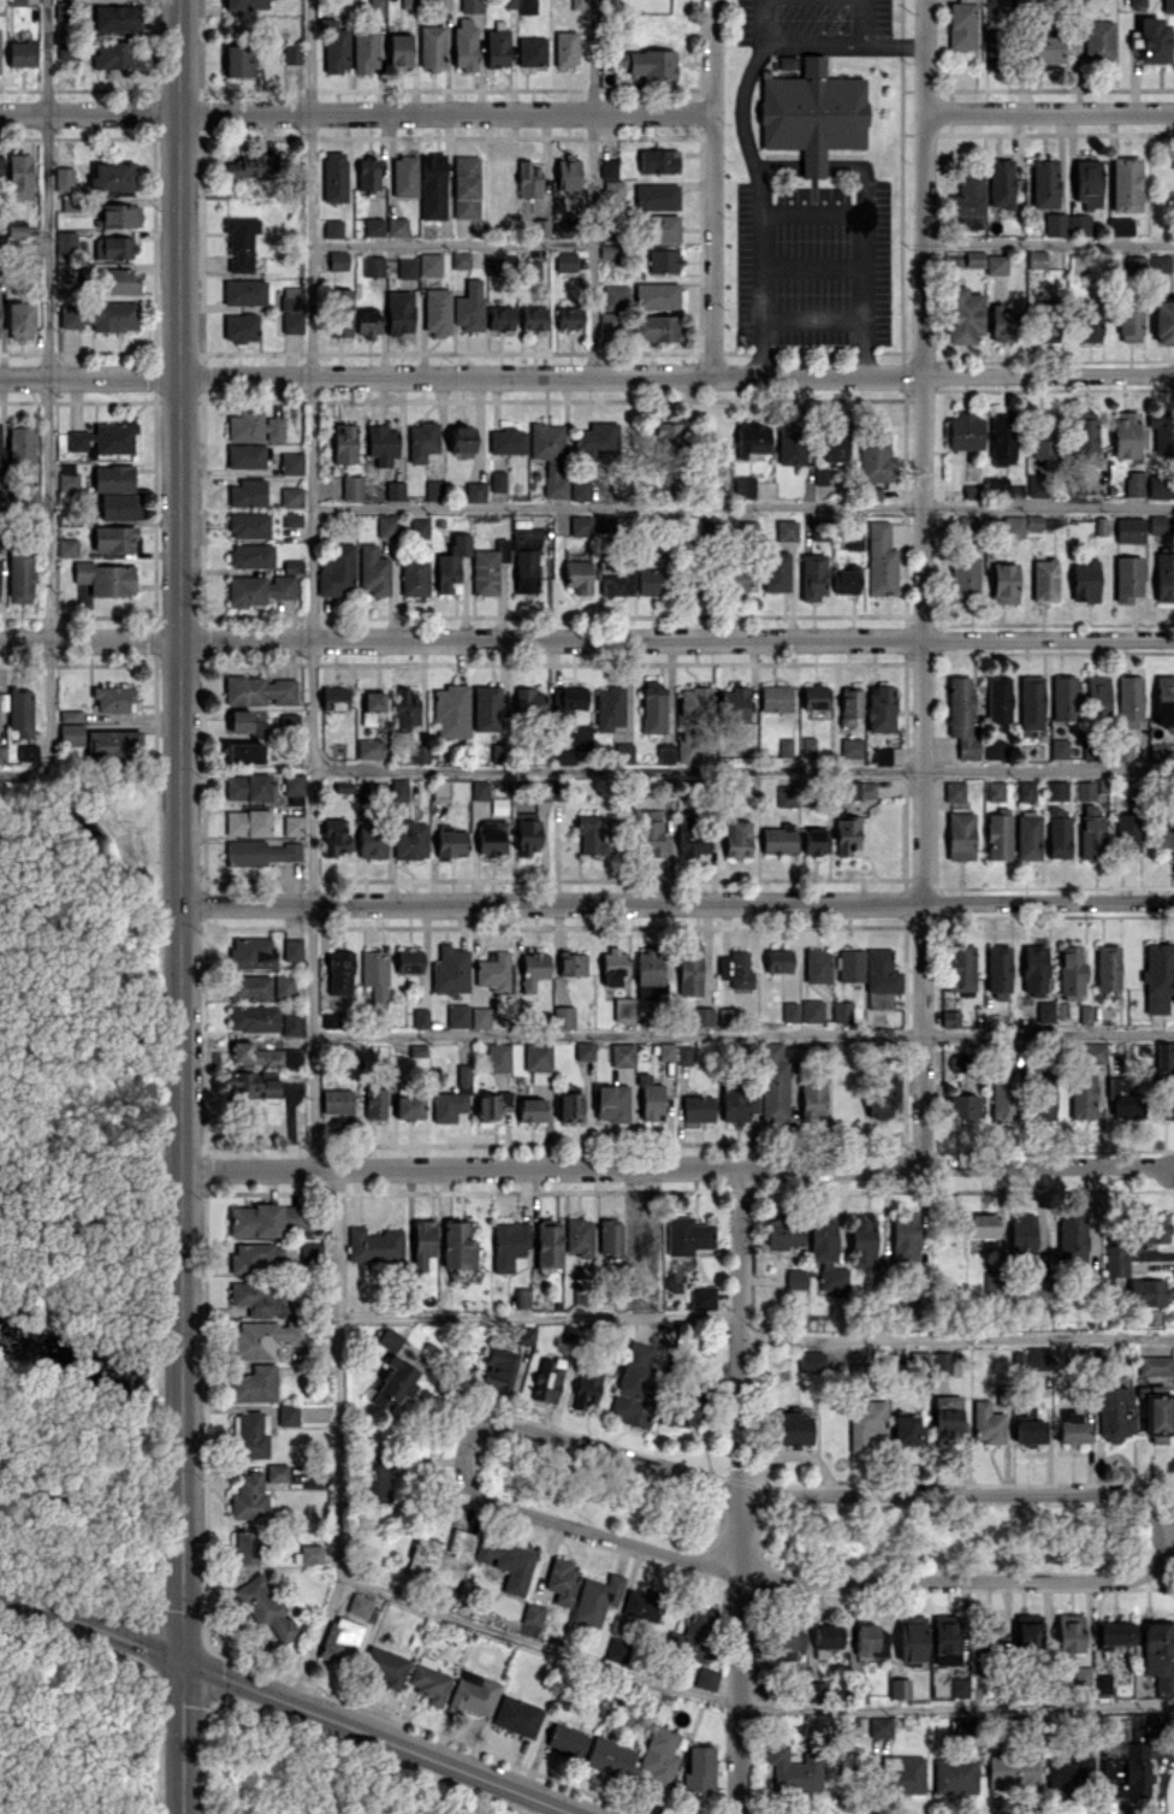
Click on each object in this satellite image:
building: (16, 1)
building: (1136, 2)
building: (245, 4)
building: (408, 4)
building: (438, 4)
building: (509, 4)
building: (576, 4)
building: (991, 4)
building: (470, 5)
building: (526, 6)
building: (1168, 6)
building: (115, 17)
building: (961, 24)
building: (1097, 40)
building: (1152, 40)
road: (812, 41)
building: (464, 42)
road: (893, 43)
building: (334, 46)
building: (431, 46)
building: (364, 47)
building: (497, 47)
building: (1043, 47)
building: (565, 48)
building: (399, 49)
building: (994, 49)
building: (532, 51)
building: (20, 53)
building: (117, 53)
building: (291, 53)
building: (238, 60)
building: (646, 63)
road: (1049, 112)
road: (356, 113)
building: (812, 113)
building: (658, 160)
building: (0, 163)
building: (249, 165)
road: (776, 165)
road: (812, 165)
building: (607, 167)
building: (367, 172)
road: (861, 172)
building: (567, 173)
building: (19, 176)
building: (112, 176)
building: (334, 176)
building: (404, 176)
building: (64, 178)
building: (528, 179)
building: (1000, 182)
building: (1043, 183)
building: (1087, 183)
building: (1125, 183)
building: (466, 185)
building: (432, 187)
road: (713, 187)
road: (924, 187)
road: (593, 188)
building: (612, 189)
building: (656, 196)
building: (968, 200)
road: (757, 203)
building: (119, 214)
building: (1055, 224)
building: (1078, 224)
building: (373, 226)
building: (396, 226)
building: (1119, 226)
building: (16, 228)
building: (332, 228)
building: (539, 228)
building: (660, 228)
road: (451, 240)
building: (65, 241)
building: (241, 242)
road: (23, 243)
road: (860, 243)
road: (1049, 243)
building: (114, 246)
building: (607, 250)
building: (973, 258)
building: (459, 259)
building: (1036, 259)
building: (337, 260)
building: (663, 260)
building: (565, 261)
building: (1160, 262)
building: (429, 264)
building: (996, 264)
building: (1136, 264)
building: (372, 265)
building: (492, 265)
building: (407, 267)
building: (530, 268)
building: (64, 272)
building: (117, 280)
building: (244, 291)
building: (656, 294)
building: (615, 296)
building: (291, 299)
building: (468, 306)
building: (435, 311)
building: (340, 312)
building: (398, 314)
road: (811, 314)
building: (99, 315)
building: (963, 315)
building: (500, 317)
building: (533, 318)
building: (568, 318)
building: (19, 319)
building: (1163, 320)
building: (367, 321)
building: (607, 321)
building: (292, 323)
building: (1001, 323)
building: (1046, 323)
building: (1089, 323)
building: (1129, 324)
building: (239, 326)
building: (657, 327)
road: (587, 376)
road: (48, 388)
building: (245, 425)
building: (273, 427)
building: (963, 431)
building: (1162, 431)
building: (1125, 433)
building: (1043, 435)
building: (1085, 435)
building: (668, 436)
building: (103, 437)
building: (462, 438)
building: (752, 439)
building: (1002, 439)
building: (421, 441)
building: (506, 441)
building: (595, 441)
building: (790, 441)
building: (834, 442)
building: (344, 443)
building: (381, 443)
building: (20, 444)
building: (245, 455)
building: (549, 455)
building: (874, 456)
building: (0, 459)
building: (291, 462)
building: (820, 474)
building: (67, 477)
building: (112, 478)
building: (497, 480)
building: (743, 485)
building: (1036, 485)
building: (1149, 485)
building: (351, 486)
building: (579, 489)
building: (1, 490)
building: (395, 490)
building: (435, 490)
building: (872, 490)
building: (472, 491)
building: (30, 492)
building: (247, 492)
building: (290, 496)
building: (119, 506)
road: (742, 508)
road: (24, 512)
building: (291, 519)
building: (1033, 521)
building: (604, 522)
building: (971, 524)
building: (1156, 524)
building: (248, 525)
building: (385, 525)
building: (1009, 525)
building: (748, 526)
building: (416, 527)
building: (785, 530)
building: (1128, 530)
building: (853, 534)
building: (527, 537)
building: (115, 538)
building: (66, 546)
building: (251, 555)
building: (879, 560)
building: (451, 563)
building: (292, 566)
building: (488, 567)
building: (337, 571)
building: (373, 571)
building: (524, 571)
building: (775, 571)
building: (414, 575)
building: (577, 575)
building: (812, 575)
building: (19, 577)
building: (613, 577)
building: (740, 577)
building: (1163, 577)
building: (103, 578)
building: (963, 578)
building: (1127, 578)
building: (1044, 579)
building: (844, 580)
building: (651, 581)
building: (1085, 581)
road: (312, 583)
building: (1003, 583)
building: (259, 589)
road: (586, 639)
building: (259, 690)
building: (814, 696)
building: (334, 697)
building: (573, 697)
building: (775, 697)
building: (1063, 697)
building: (1096, 697)
building: (114, 698)
building: (734, 699)
building: (1164, 699)
building: (373, 701)
building: (693, 701)
building: (997, 701)
building: (1128, 701)
building: (528, 702)
building: (1031, 702)
building: (849, 704)
building: (405, 705)
building: (653, 707)
building: (486, 708)
building: (609, 708)
building: (879, 708)
building: (451, 710)
building: (20, 713)
building: (71, 715)
building: (961, 716)
building: (367, 717)
building: (239, 720)
building: (71, 733)
building: (581, 737)
building: (113, 743)
building: (783, 746)
building: (808, 746)
building: (369, 748)
building: (850, 748)
building: (1059, 748)
building: (994, 749)
building: (1122, 749)
building: (687, 750)
building: (243, 751)
building: (1156, 751)
building: (497, 752)
building: (622, 752)
building: (665, 752)
building: (2, 754)
building: (28, 754)
building: (419, 754)
building: (880, 755)
building: (564, 756)
road: (743, 769)
road: (925, 769)
road: (19, 772)
building: (292, 784)
building: (247, 786)
building: (439, 787)
building: (479, 790)
building: (862, 790)
building: (1025, 790)
building: (1056, 790)
building: (1085, 790)
building: (364, 791)
building: (954, 791)
building: (994, 791)
building: (785, 794)
building: (498, 805)
building: (247, 822)
building: (292, 825)
building: (687, 825)
building: (526, 832)
building: (1057, 832)
building: (1090, 832)
building: (1127, 832)
building: (589, 833)
building: (846, 835)
building: (960, 835)
building: (997, 835)
building: (1166, 835)
building: (336, 837)
building: (491, 837)
building: (648, 837)
building: (1027, 837)
building: (736, 838)
building: (778, 838)
building: (410, 839)
building: (370, 840)
building: (450, 840)
building: (814, 840)
building: (693, 849)
building: (261, 852)
road: (677, 903)
road: (182, 906)
building: (291, 949)
building: (251, 952)
building: (408, 961)
building: (777, 961)
building: (571, 963)
building: (613, 965)
building: (817, 965)
building: (850, 965)
building: (1107, 967)
building: (735, 968)
building: (960, 968)
building: (533, 969)
building: (1033, 969)
building: (450, 970)
building: (493, 970)
building: (689, 970)
building: (997, 971)
building: (1071, 971)
building: (339, 973)
building: (648, 973)
building: (1157, 975)
building: (375, 977)
building: (250, 986)
building: (283, 986)
building: (623, 1009)
building: (812, 1010)
building: (789, 1011)
building: (841, 1011)
building: (1044, 1011)
building: (457, 1015)
building: (563, 1016)
building: (701, 1016)
building: (725, 1016)
building: (253, 1017)
building: (420, 1017)
building: (480, 1017)
building: (949, 1017)
building: (331, 1020)
building: (292, 1022)
road: (743, 1035)
building: (417, 1050)
building: (583, 1050)
building: (665, 1051)
building: (1093, 1052)
building: (262, 1054)
building: (622, 1054)
building: (684, 1054)
building: (498, 1056)
building: (536, 1057)
building: (1163, 1059)
building: (251, 1083)
building: (772, 1083)
building: (1002, 1094)
building: (1081, 1095)
building: (812, 1097)
building: (1043, 1097)
building: (452, 1098)
building: (1122, 1099)
building: (337, 1100)
building: (651, 1101)
building: (736, 1101)
building: (374, 1103)
building: (611, 1103)
building: (880, 1104)
building: (491, 1105)
building: (408, 1106)
building: (962, 1106)
building: (698, 1107)
building: (1162, 1107)
building: (530, 1109)
road: (677, 1166)
building: (295, 1218)
building: (255, 1219)
building: (977, 1224)
building: (1151, 1227)
building: (783, 1231)
building: (1021, 1234)
building: (610, 1235)
building: (687, 1235)
building: (579, 1236)
building: (905, 1236)
building: (1071, 1236)
building: (423, 1237)
building: (861, 1240)
building: (547, 1242)
building: (374, 1243)
building: (509, 1243)
building: (641, 1243)
building: (457, 1246)
building: (310, 1252)
building: (826, 1253)
building: (256, 1257)
building: (795, 1281)
building: (992, 1287)
building: (1146, 1292)
building: (702, 1296)
building: (260, 1300)
building: (644, 1300)
road: (540, 1319)
building: (526, 1334)
building: (571, 1334)
road: (957, 1335)
building: (266, 1337)
building: (386, 1337)
building: (1032, 1358)
building: (811, 1360)
building: (1154, 1365)
building: (498, 1369)
road: (338, 1372)
building: (547, 1379)
building: (254, 1383)
building: (393, 1384)
building: (633, 1384)
building: (586, 1388)
building: (1115, 1408)
building: (681, 1410)
building: (287, 1413)
building: (947, 1413)
building: (1155, 1416)
building: (865, 1423)
building: (986, 1423)
building: (1072, 1428)
building: (793, 1429)
building: (1028, 1429)
building: (906, 1430)
building: (251, 1435)
road: (600, 1446)
building: (277, 1472)
building: (376, 1482)
road: (965, 1489)
road: (742, 1490)
building: (249, 1496)
road: (582, 1529)
building: (245, 1544)
building: (309, 1553)
building: (439, 1556)
building: (506, 1562)
road: (963, 1577)
building: (561, 1580)
building: (595, 1599)
building: (642, 1605)
building: (361, 1606)
building: (265, 1607)
building: (532, 1613)
building: (1027, 1630)
building: (696, 1632)
building: (1068, 1632)
building: (829, 1635)
building: (990, 1635)
building: (1113, 1635)
building: (911, 1637)
road: (315, 1638)
building: (945, 1639)
building: (340, 1641)
building: (787, 1642)
building: (870, 1642)
road: (539, 1649)
building: (616, 1650)
building: (1158, 1653)
traffic signals: (184, 1659)
building: (386, 1666)
building: (706, 1678)
building: (1081, 1678)
building: (428, 1679)
building: (959, 1686)
building: (899, 1688)
building: (814, 1690)
building: (473, 1694)
road: (289, 1698)
road: (957, 1704)
building: (516, 1716)
building: (879, 1725)
building: (1142, 1725)
building: (567, 1741)
building: (658, 1755)
building: (609, 1756)
building: (700, 1767)
building: (794, 1768)
building: (1069, 1769)
building: (1012, 1772)
building: (1132, 1772)
building: (903, 1774)
building: (954, 1775)

